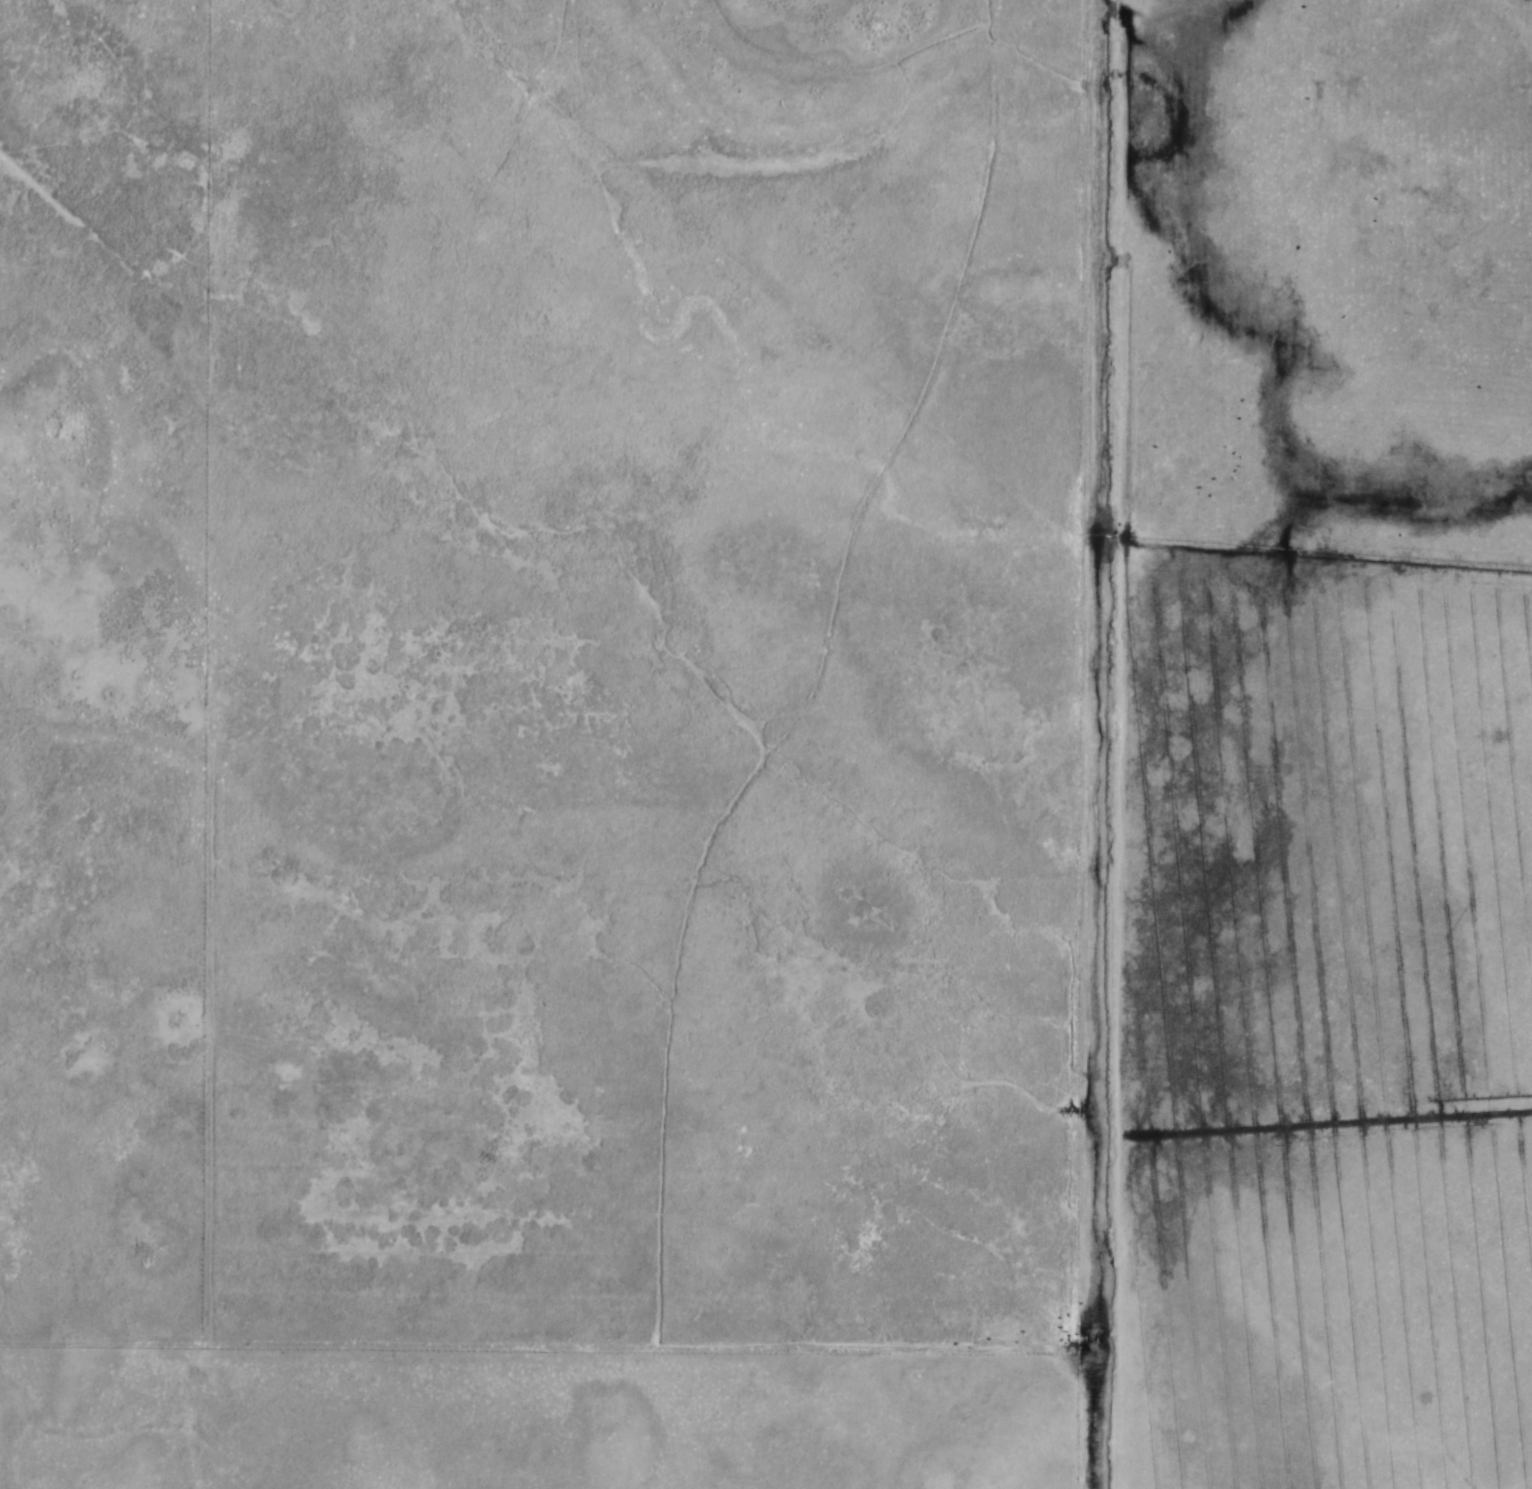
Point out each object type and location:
crop: (640, 676)
crop: (1293, 1030)

